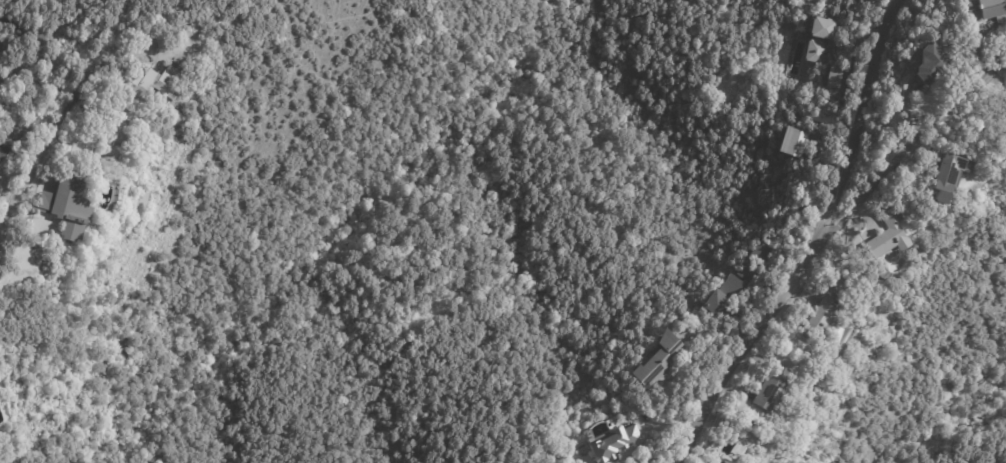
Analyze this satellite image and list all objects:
building: (989, 11)
building: (821, 40)
building: (242, 46)
building: (935, 63)
road: (25, 64)
building: (838, 81)
building: (160, 84)
road: (68, 108)
building: (792, 142)
building: (1000, 144)
road: (909, 149)
building: (4, 152)
building: (951, 175)
building: (69, 207)
road: (7, 215)
road: (0, 230)
building: (888, 235)
road: (813, 244)
building: (757, 252)
building: (744, 270)
building: (721, 293)
building: (820, 318)
building: (657, 359)
building: (770, 386)
building: (615, 444)
building: (716, 460)

